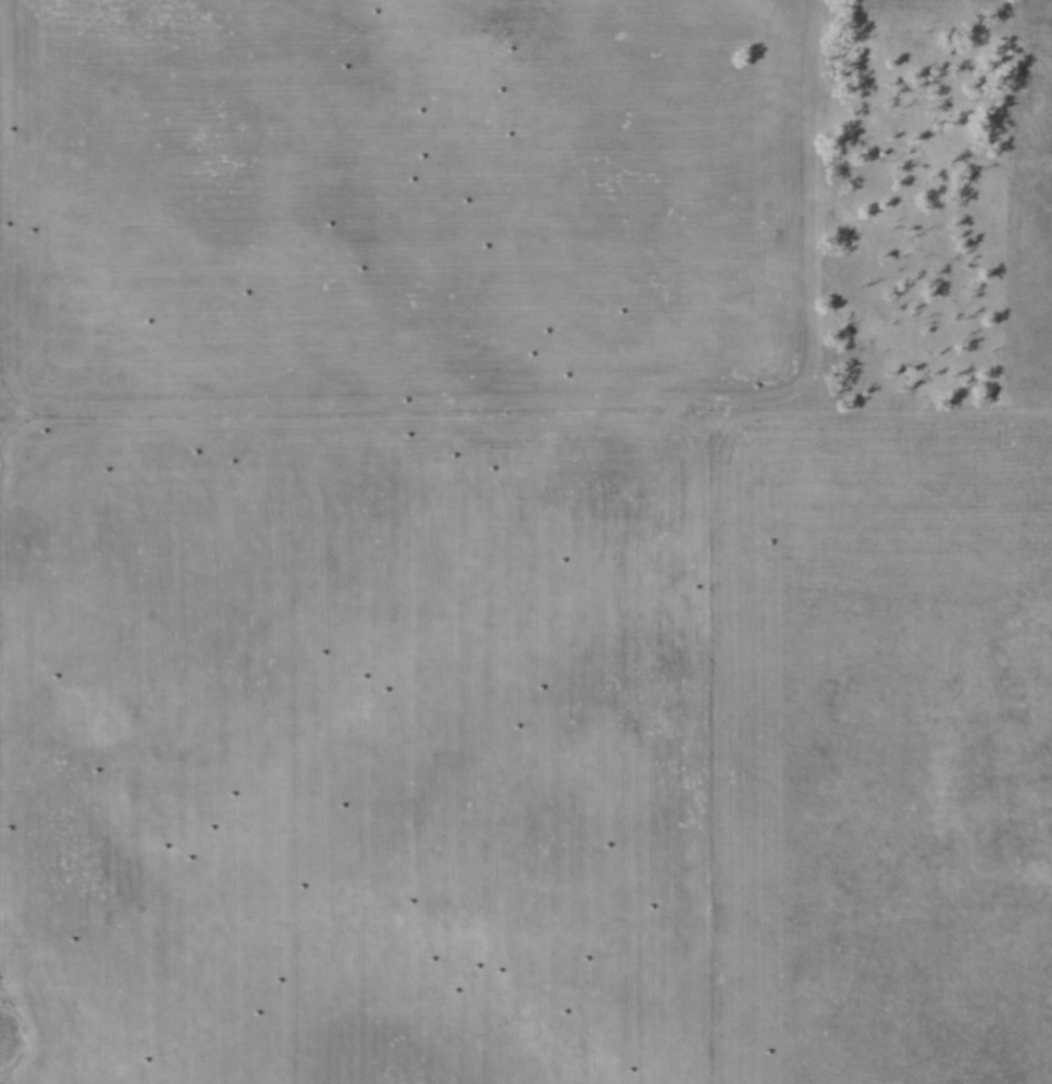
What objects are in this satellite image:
building: (995, 873)

